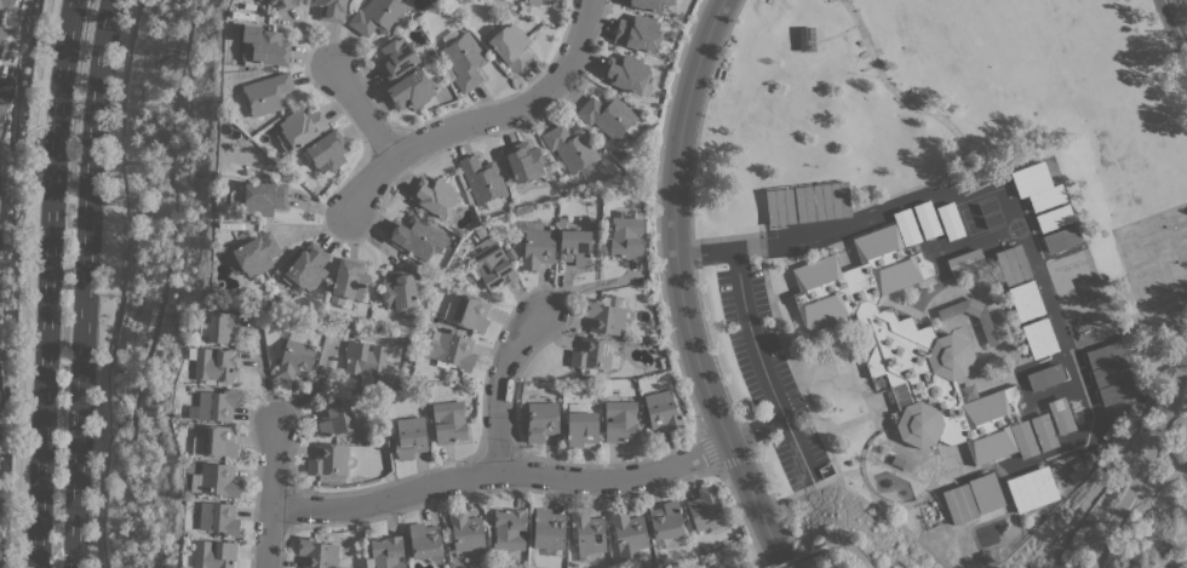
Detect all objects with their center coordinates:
building: (509, 0)
building: (547, 0)
building: (555, 0)
building: (6, 2)
building: (531, 2)
building: (648, 4)
building: (281, 5)
building: (331, 10)
building: (377, 16)
building: (638, 33)
building: (1, 34)
road: (1170, 35)
building: (264, 46)
building: (511, 46)
building: (396, 57)
building: (464, 61)
building: (626, 74)
building: (411, 90)
road: (2, 91)
building: (266, 93)
road: (910, 102)
building: (2, 108)
road: (361, 108)
building: (607, 115)
road: (478, 120)
road: (698, 122)
building: (299, 127)
building: (0, 130)
building: (570, 147)
building: (326, 150)
building: (523, 161)
building: (482, 180)
road: (993, 185)
building: (1037, 185)
building: (0, 193)
building: (435, 196)
building: (264, 197)
building: (821, 201)
building: (780, 207)
building: (1054, 217)
building: (927, 219)
building: (950, 220)
building: (906, 226)
building: (626, 235)
building: (415, 236)
building: (1061, 239)
building: (575, 246)
building: (537, 248)
road: (703, 251)
building: (256, 253)
building: (965, 262)
building: (1013, 264)
building: (492, 265)
building: (306, 266)
building: (349, 281)
road: (23, 283)
road: (48, 283)
road: (81, 283)
road: (119, 283)
building: (398, 289)
road: (678, 289)
building: (1026, 300)
building: (470, 312)
building: (945, 315)
building: (604, 317)
building: (224, 327)
building: (1039, 338)
building: (907, 345)
road: (1186, 349)
building: (452, 350)
building: (591, 352)
building: (1105, 354)
building: (294, 356)
building: (365, 358)
road: (758, 361)
building: (213, 365)
building: (1111, 372)
building: (1045, 377)
road: (498, 384)
building: (1117, 391)
building: (214, 405)
building: (663, 409)
building: (1060, 415)
building: (334, 418)
building: (541, 420)
building: (620, 420)
building: (448, 421)
building: (581, 428)
building: (1044, 431)
building: (409, 436)
building: (1023, 438)
building: (218, 441)
road: (1112, 457)
building: (327, 459)
road: (1143, 460)
road: (716, 467)
road: (499, 472)
building: (216, 480)
building: (1031, 488)
building: (986, 492)
road: (269, 493)
road: (772, 501)
building: (959, 503)
building: (706, 510)
road: (741, 516)
building: (218, 517)
building: (666, 520)
building: (547, 527)
building: (509, 528)
building: (465, 530)
building: (587, 534)
building: (630, 535)
building: (424, 540)
road: (848, 545)
building: (385, 552)
building: (212, 553)
building: (319, 553)
road: (796, 557)

